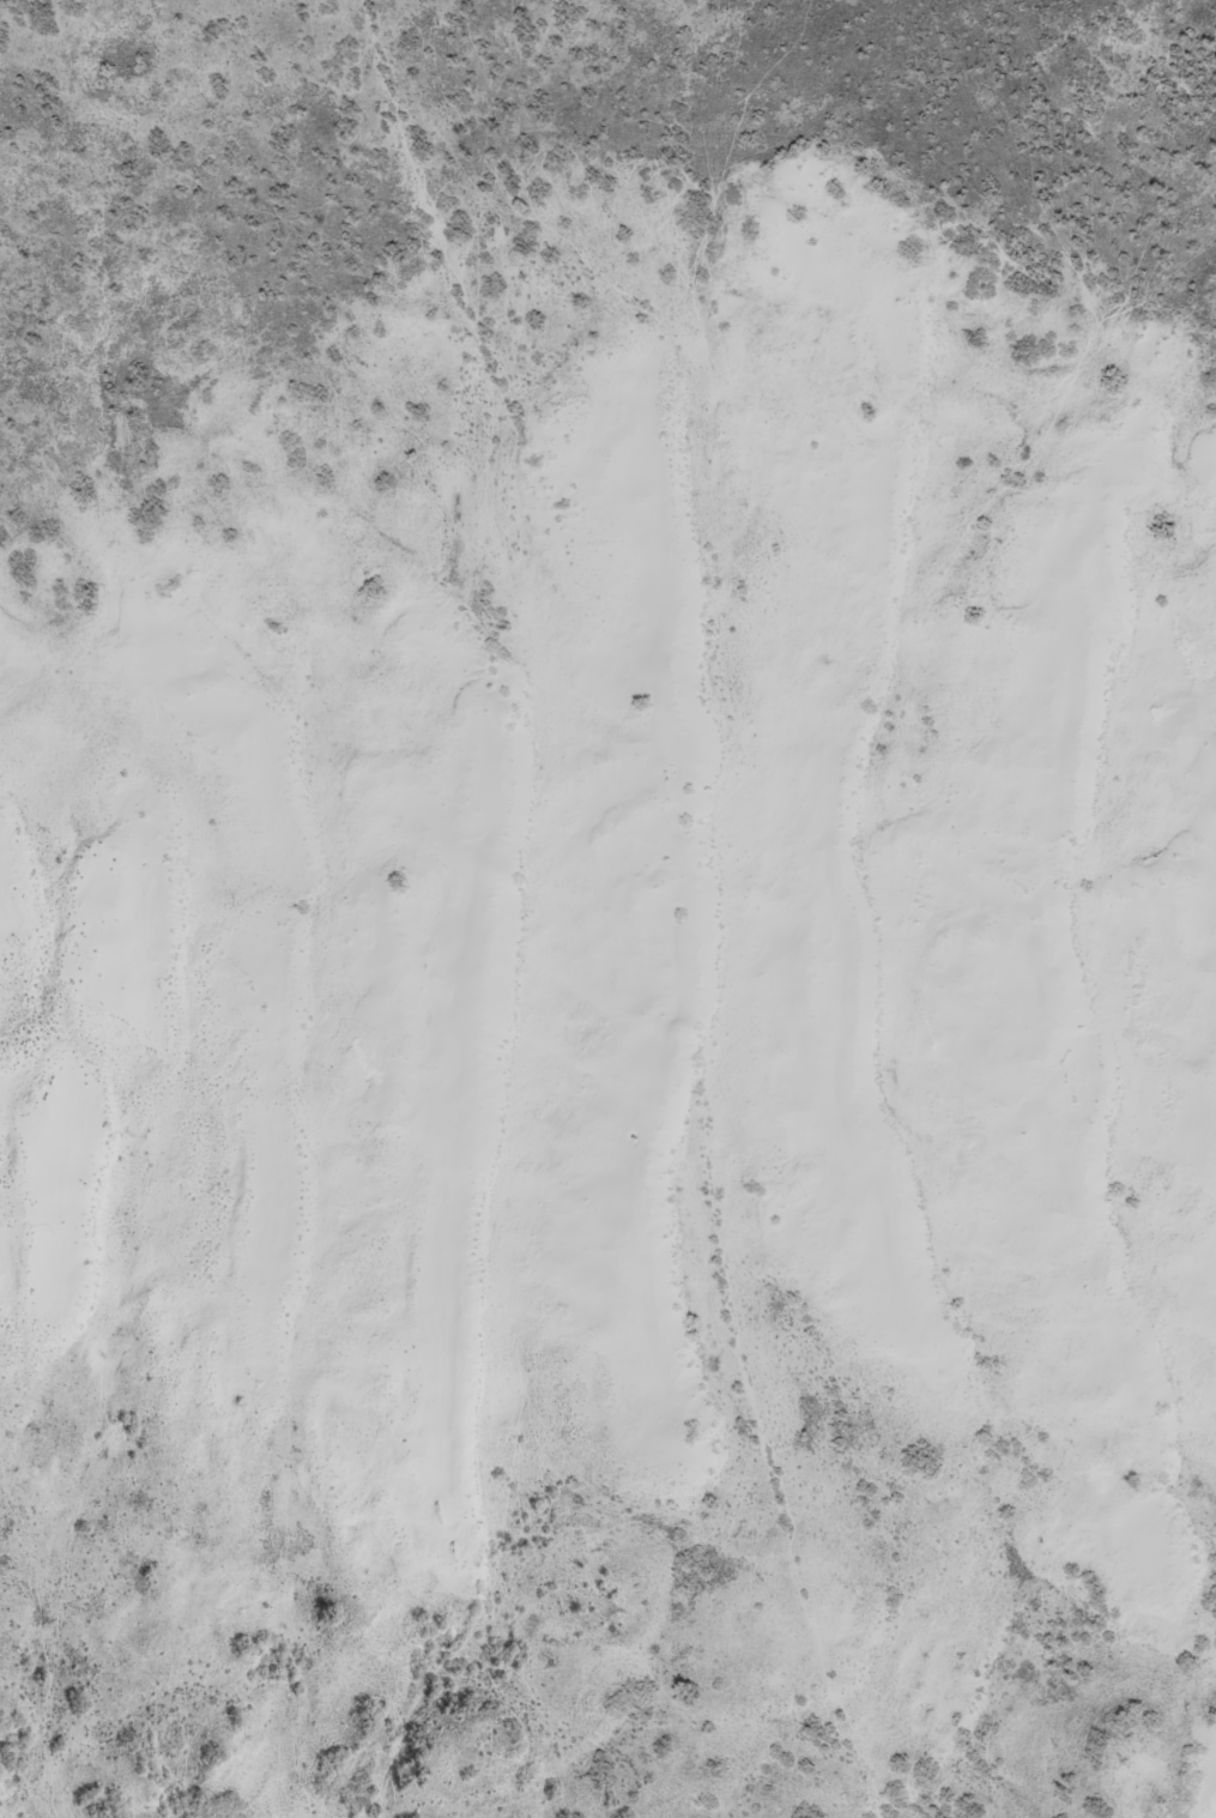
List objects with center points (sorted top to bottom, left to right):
road: (394, 131)
road: (881, 1807)

